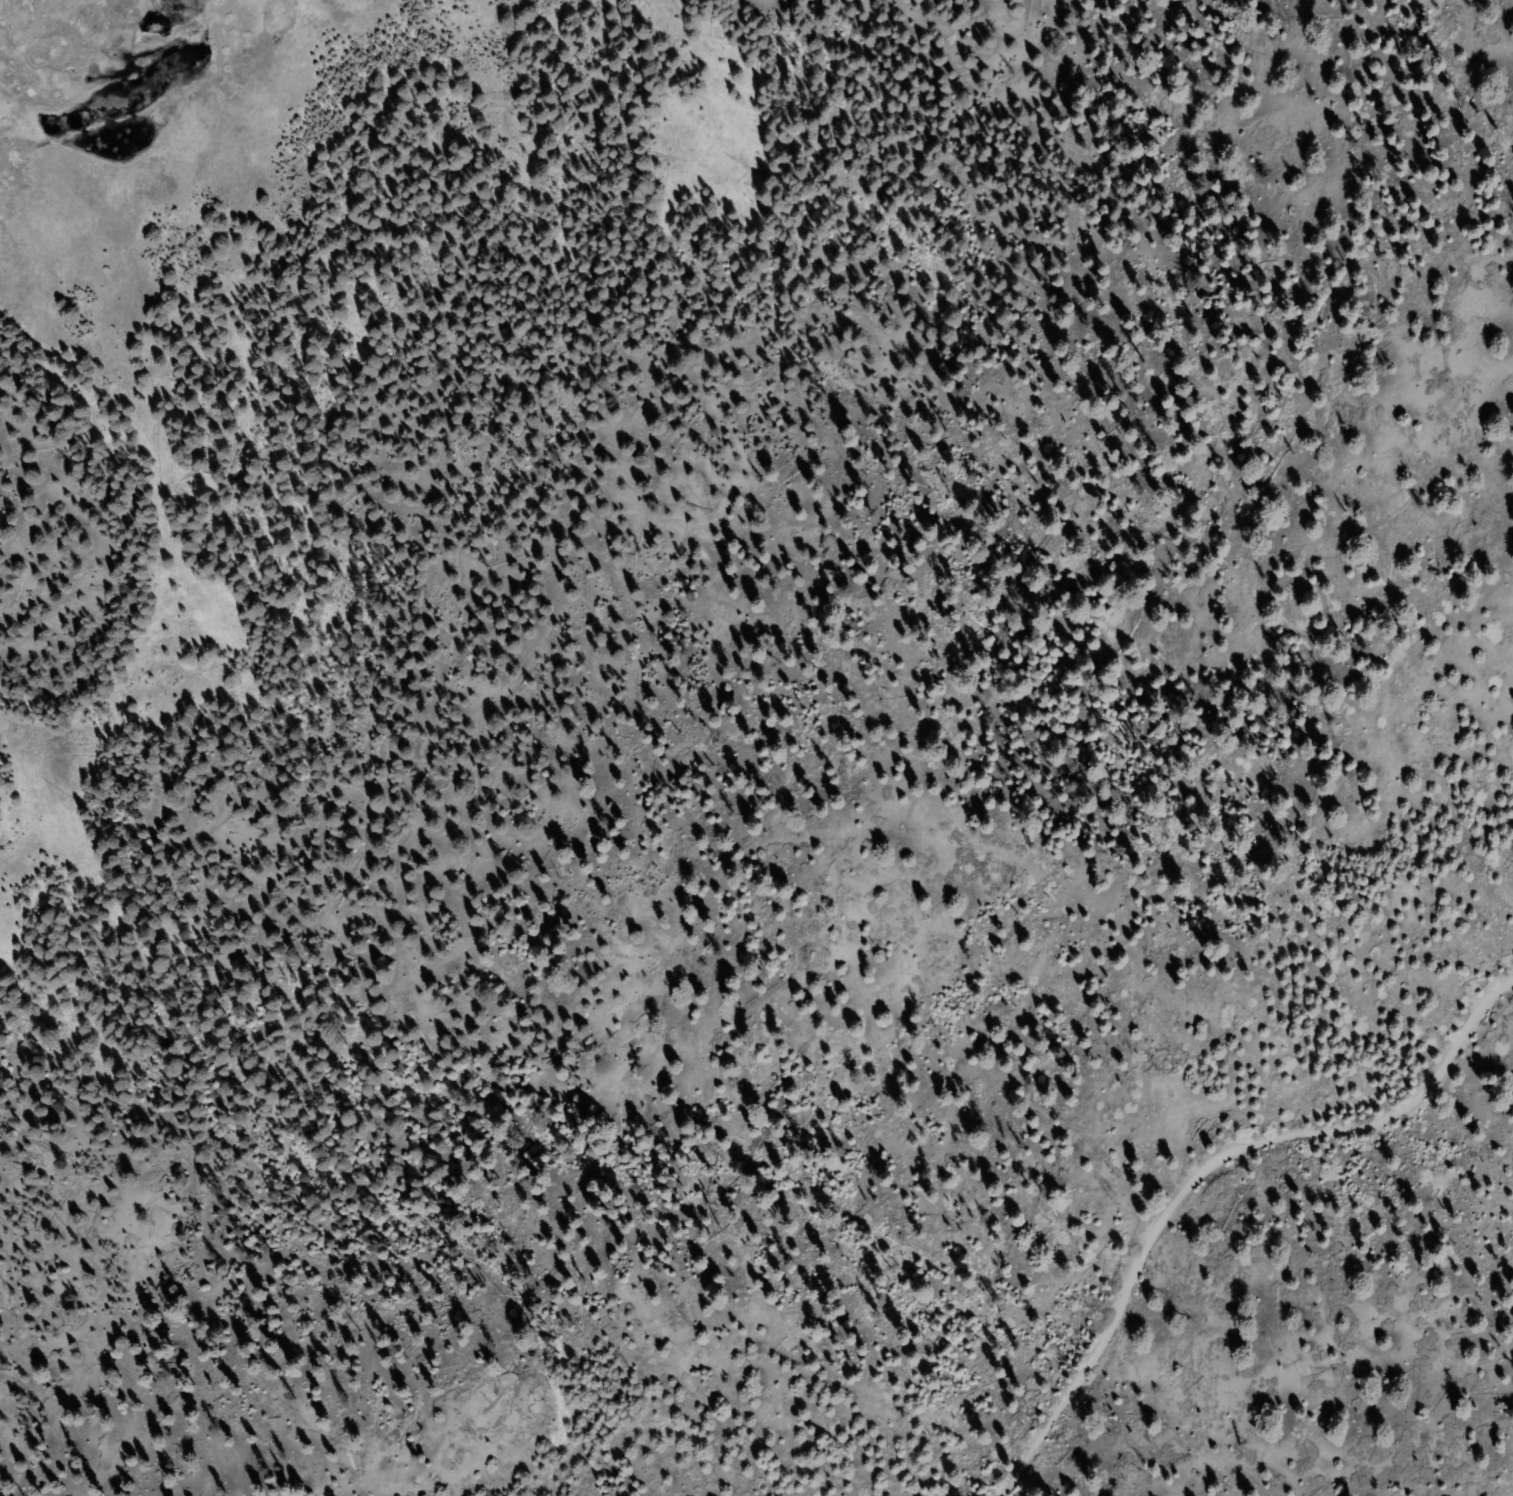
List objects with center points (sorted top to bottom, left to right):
road: (1203, 1177)

